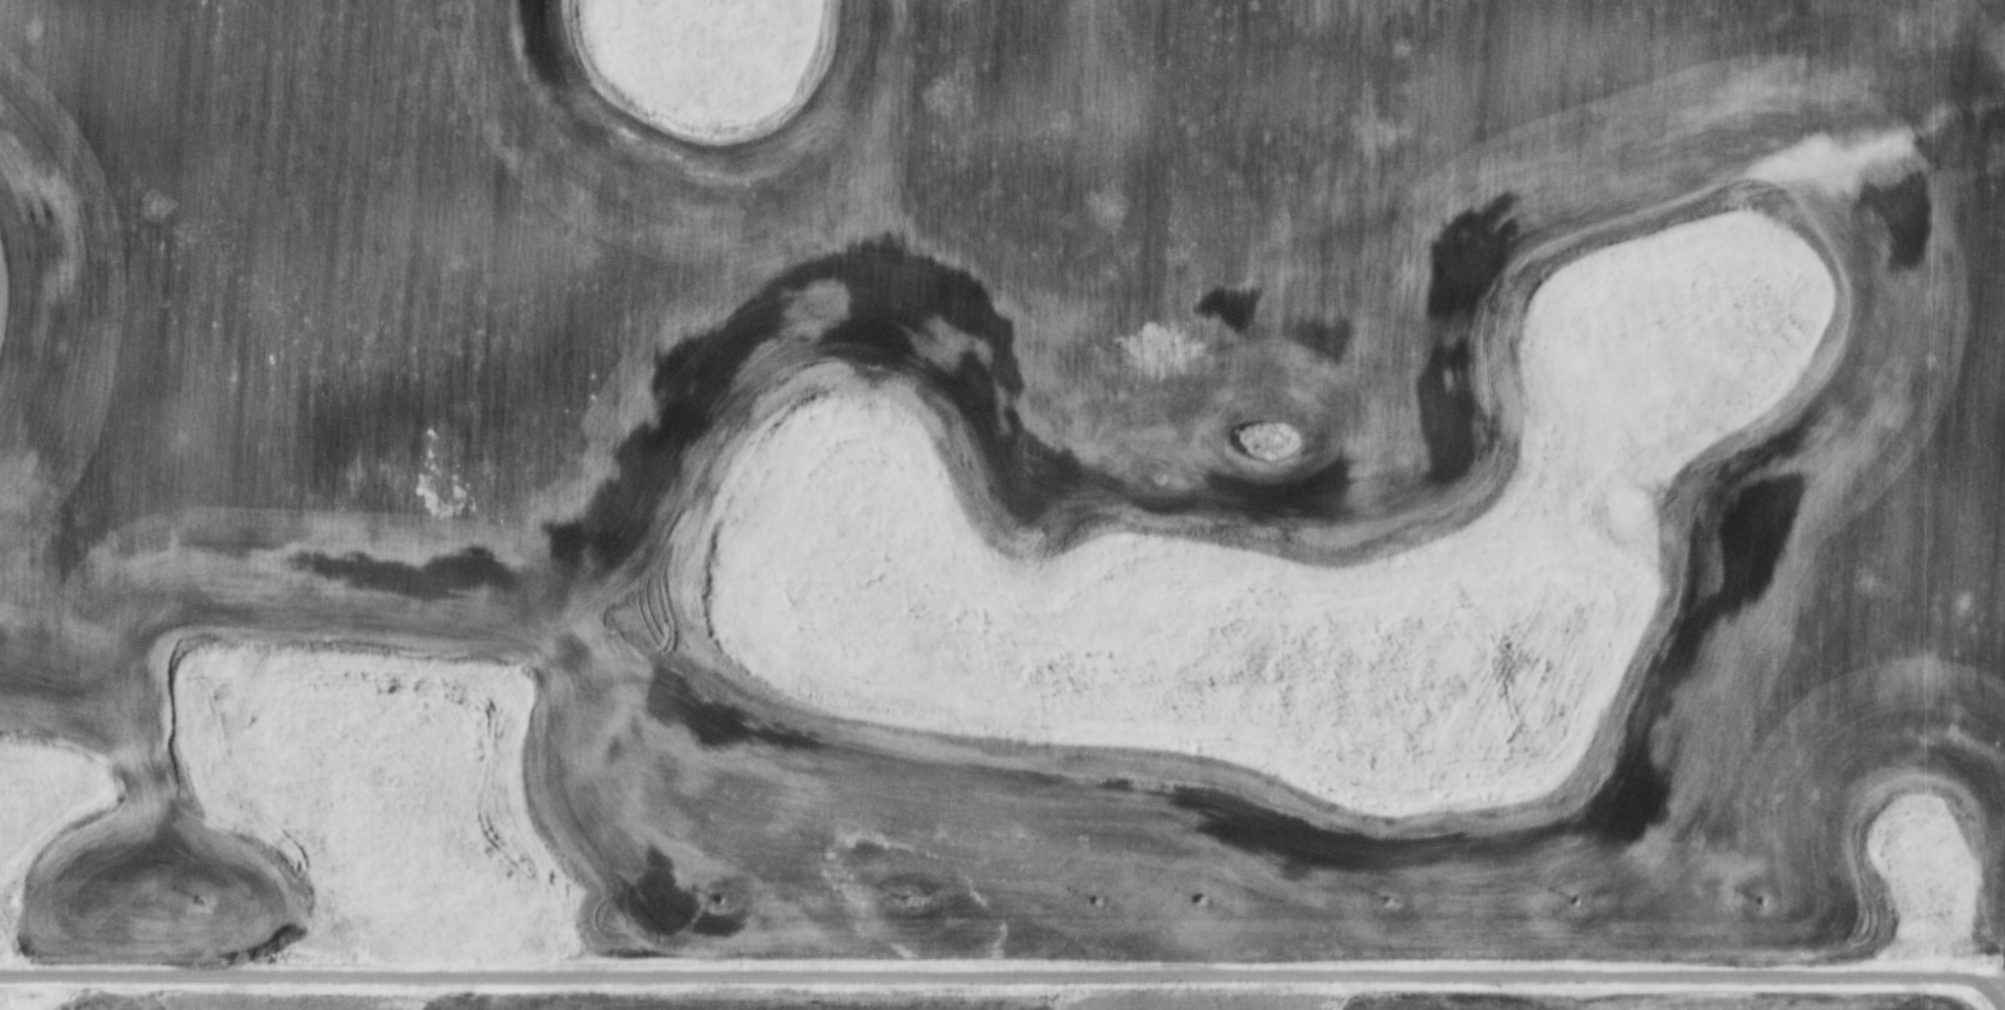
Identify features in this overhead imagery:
road: (991, 971)
road: (1993, 974)
road: (1995, 986)

